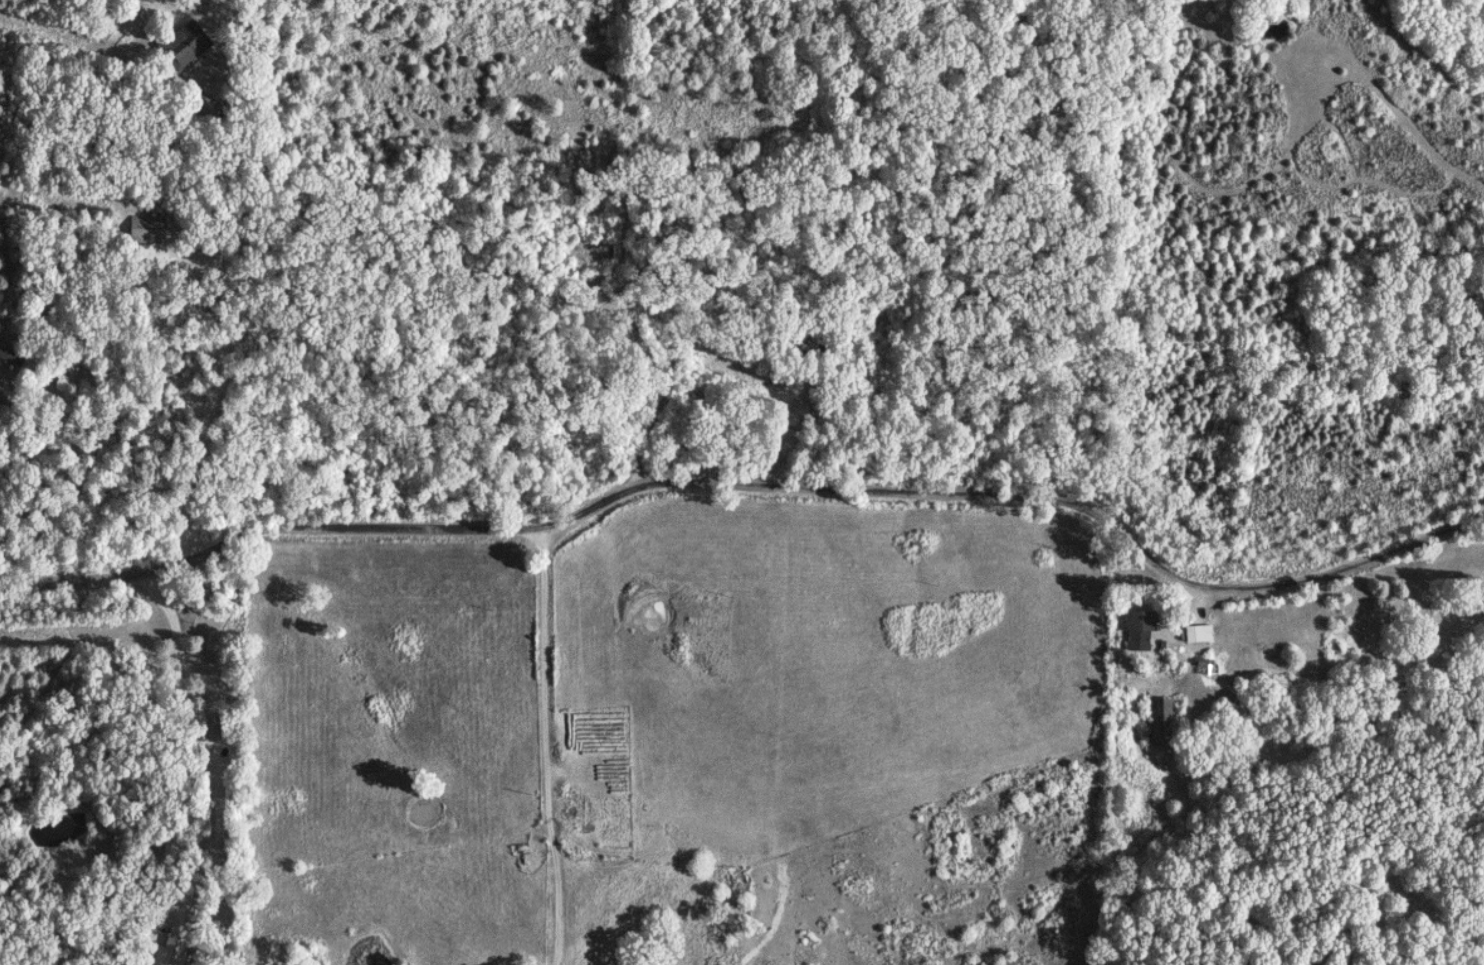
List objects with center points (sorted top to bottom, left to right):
building: (183, 47)
road: (237, 48)
building: (201, 105)
building: (145, 230)
building: (10, 356)
road: (224, 376)
road: (665, 399)
road: (899, 399)
road: (9, 402)
road: (749, 485)
building: (1138, 628)
building: (1197, 634)
building: (1164, 717)
road: (550, 746)
road: (206, 760)
building: (159, 956)

